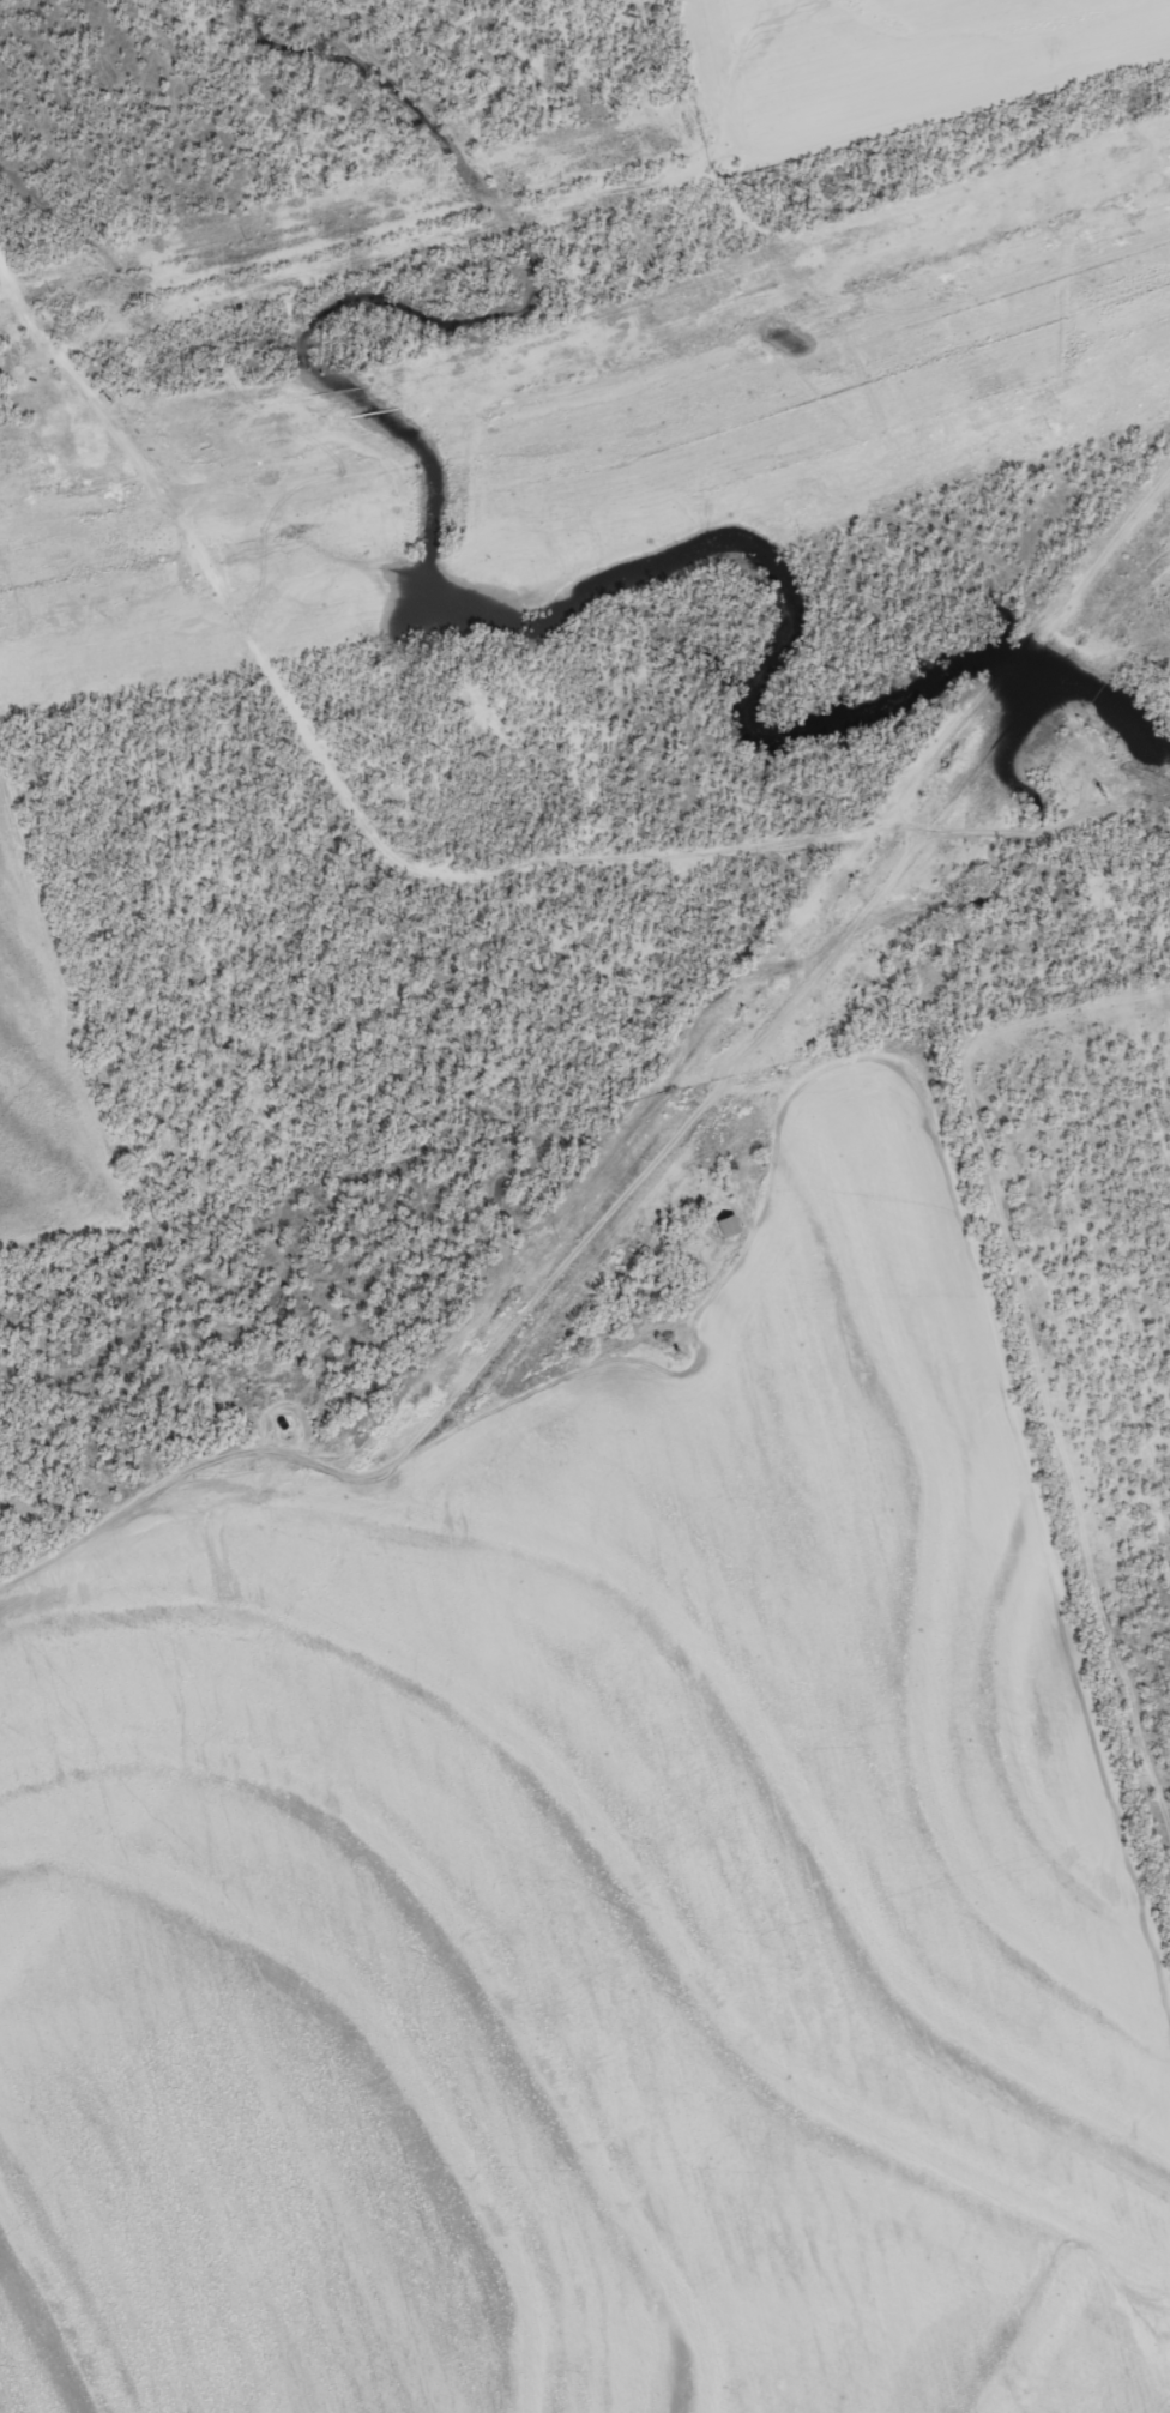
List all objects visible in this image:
road: (824, 861)
building: (730, 1226)
road: (1100, 1249)

